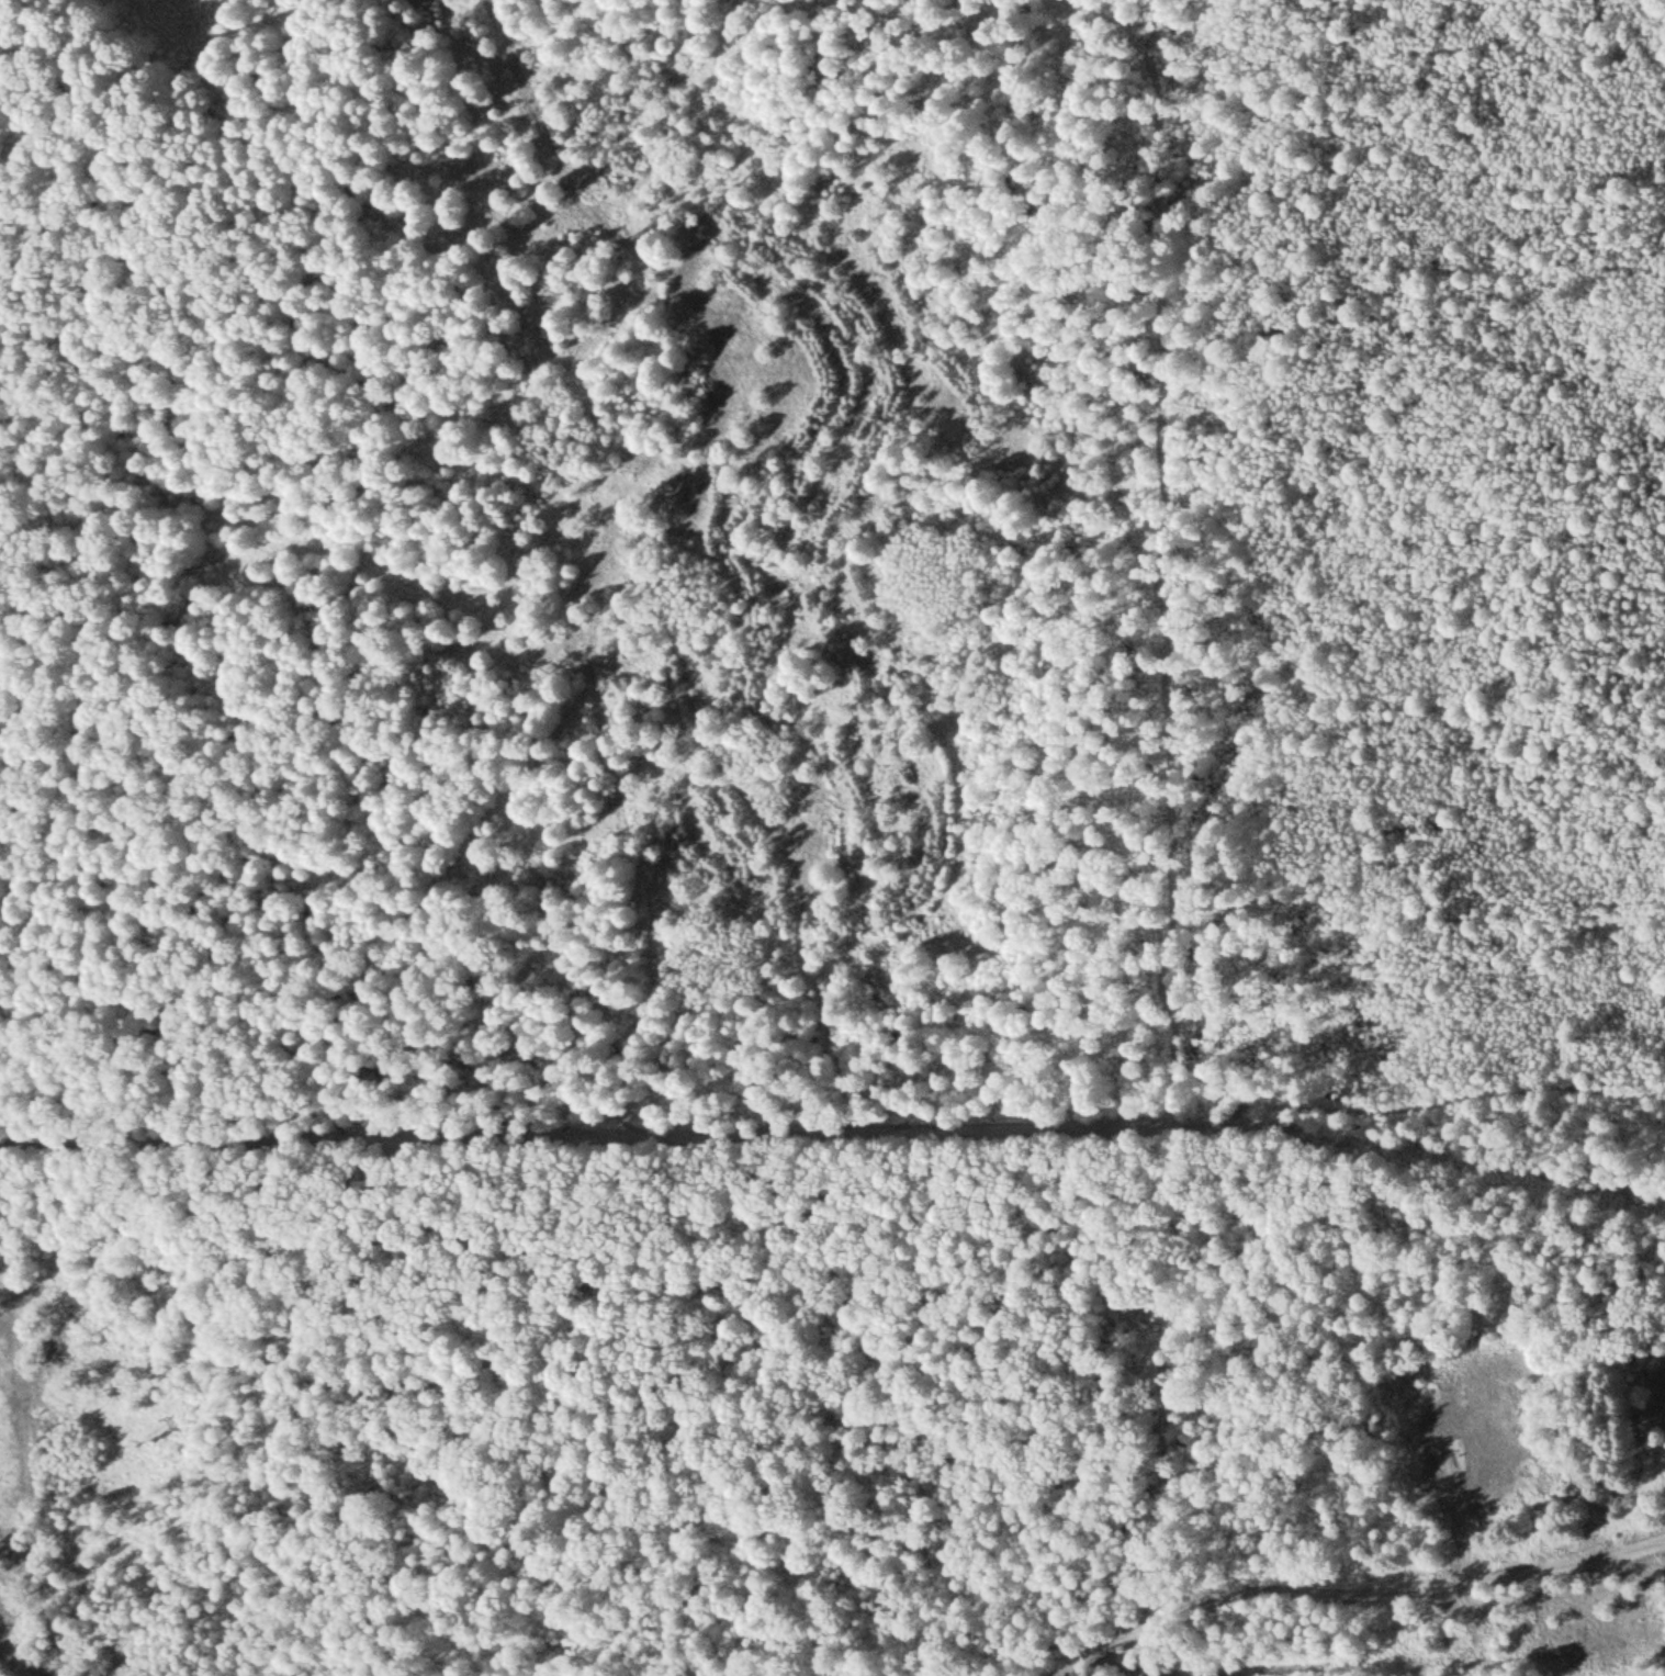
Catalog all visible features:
road: (1148, 1115)
petroleum well: (1453, 1455)
road: (1359, 1594)
road: (1139, 1655)

